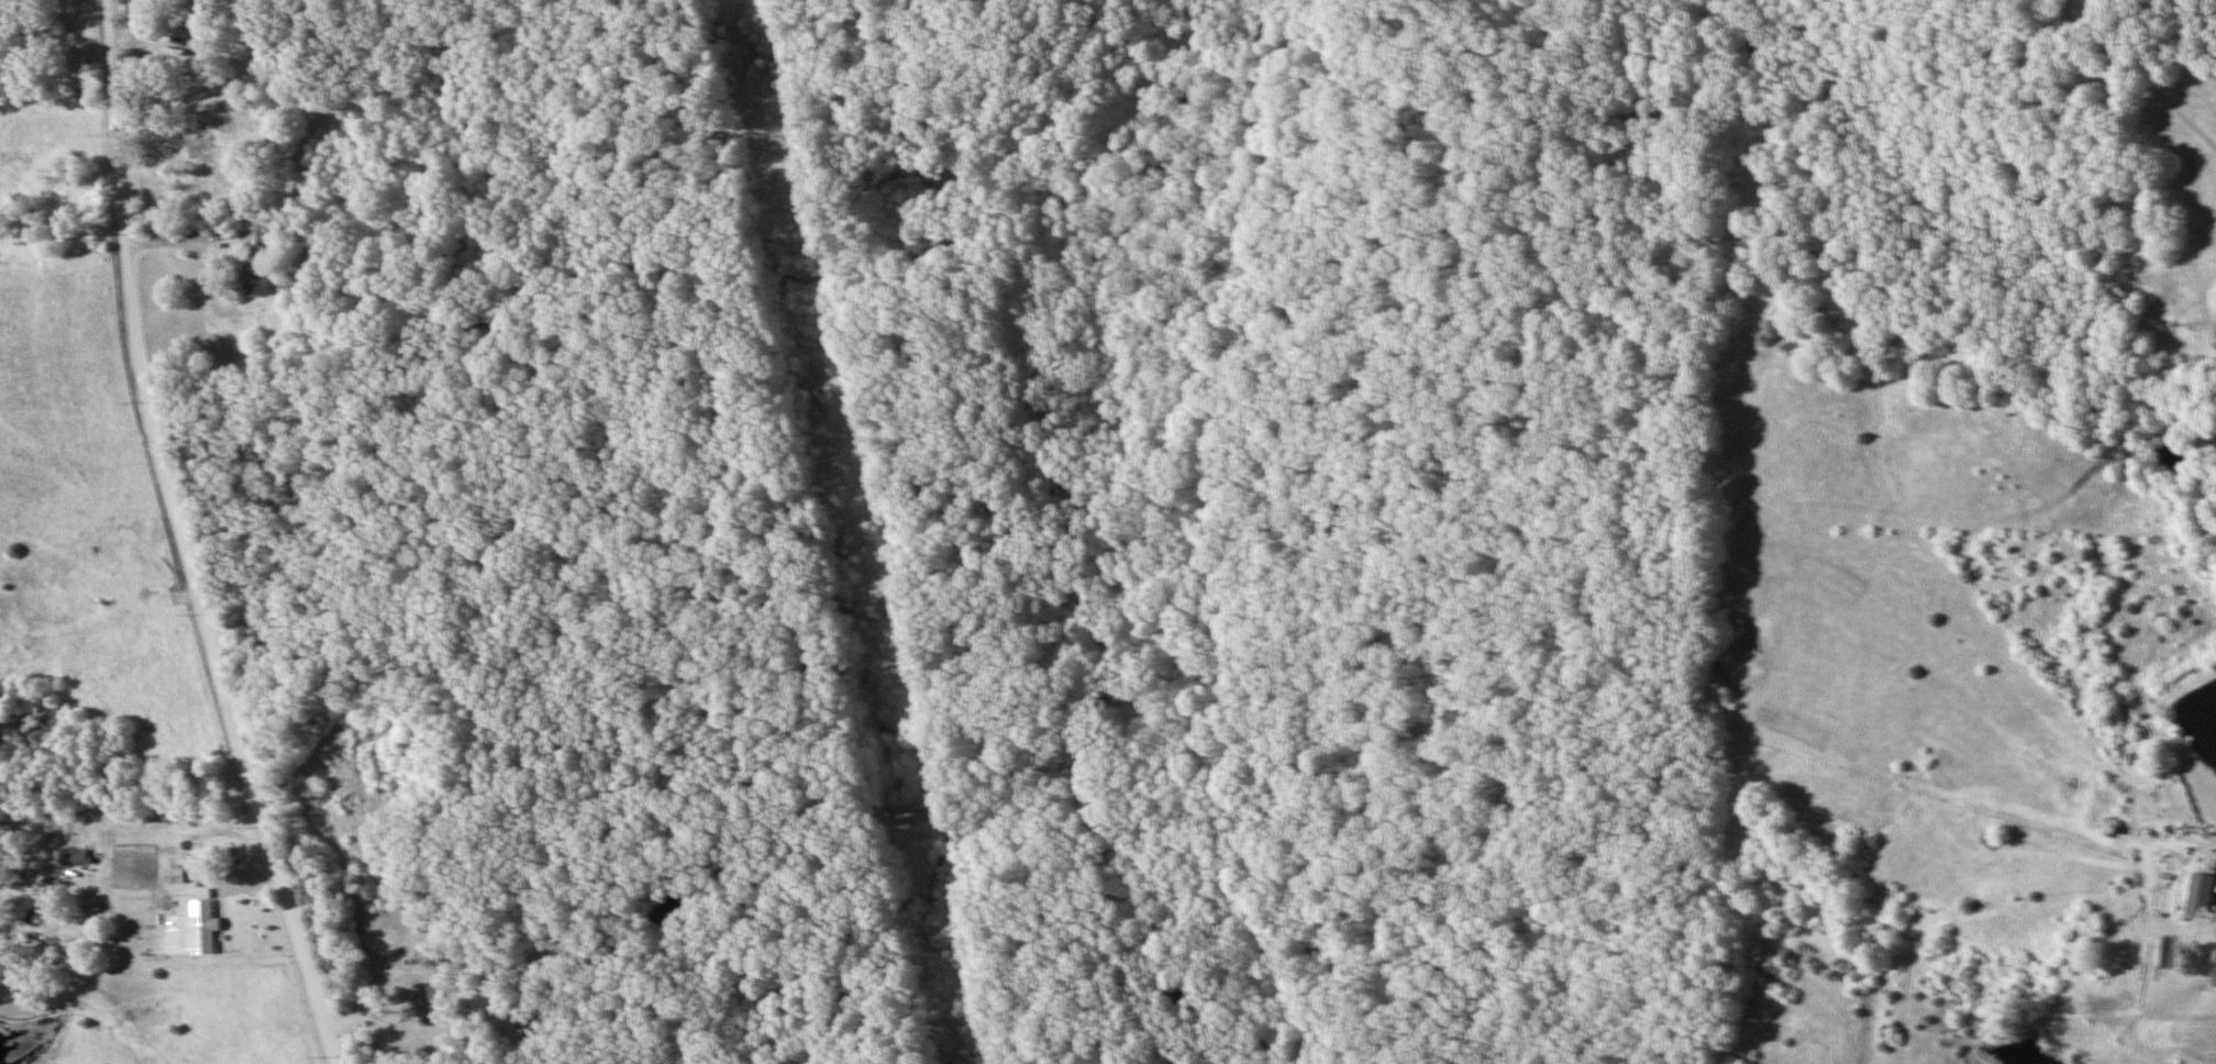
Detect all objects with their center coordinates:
building: (203, 4)
building: (170, 130)
power tower: (760, 137)
building: (254, 270)
power tower: (831, 464)
road: (182, 539)
building: (2142, 758)
power tower: (901, 818)
building: (2212, 861)
building: (2201, 896)
building: (203, 927)
building: (2215, 983)
building: (424, 1008)

